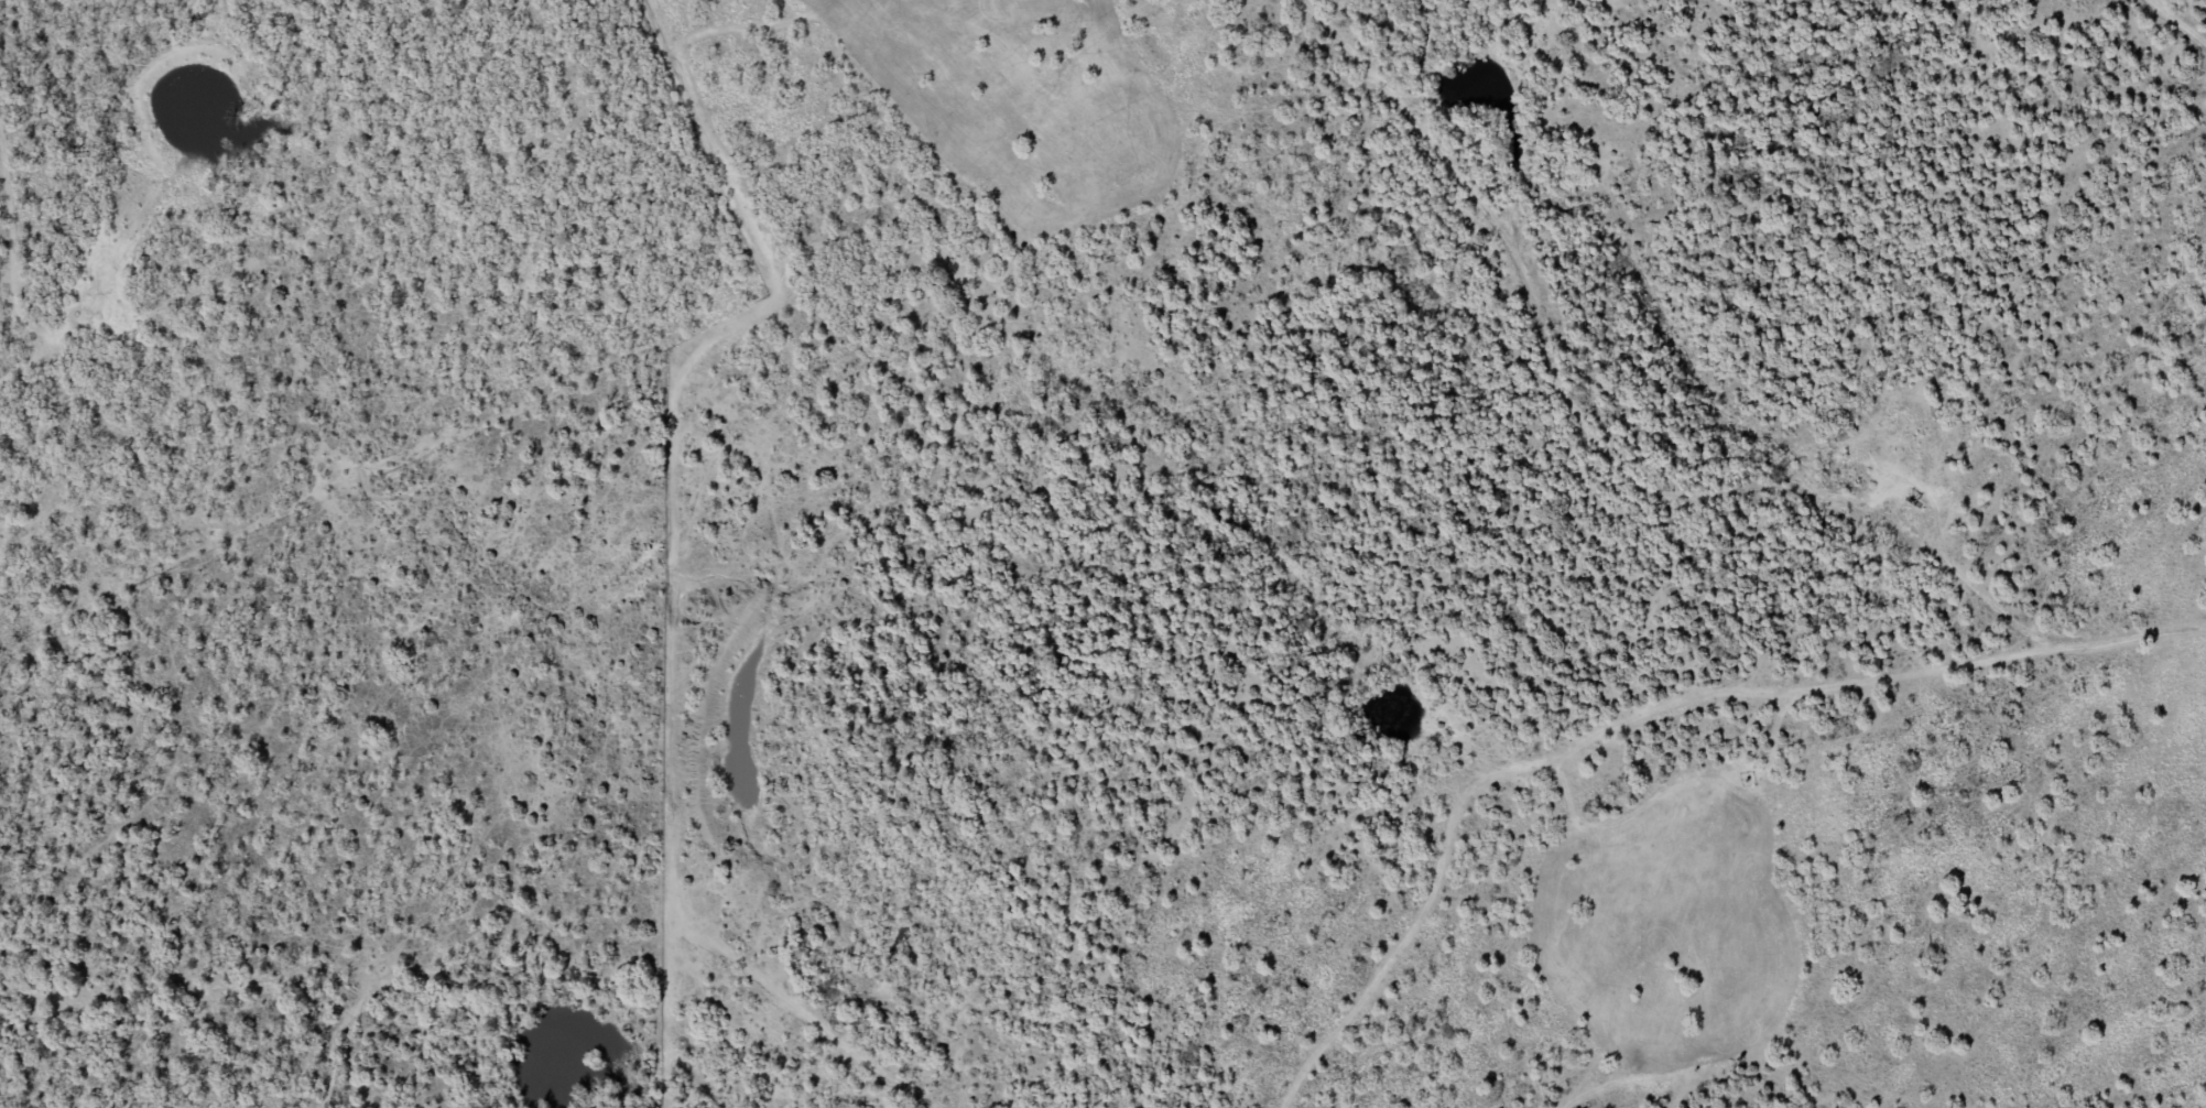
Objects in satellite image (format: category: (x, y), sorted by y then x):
road: (171, 585)

